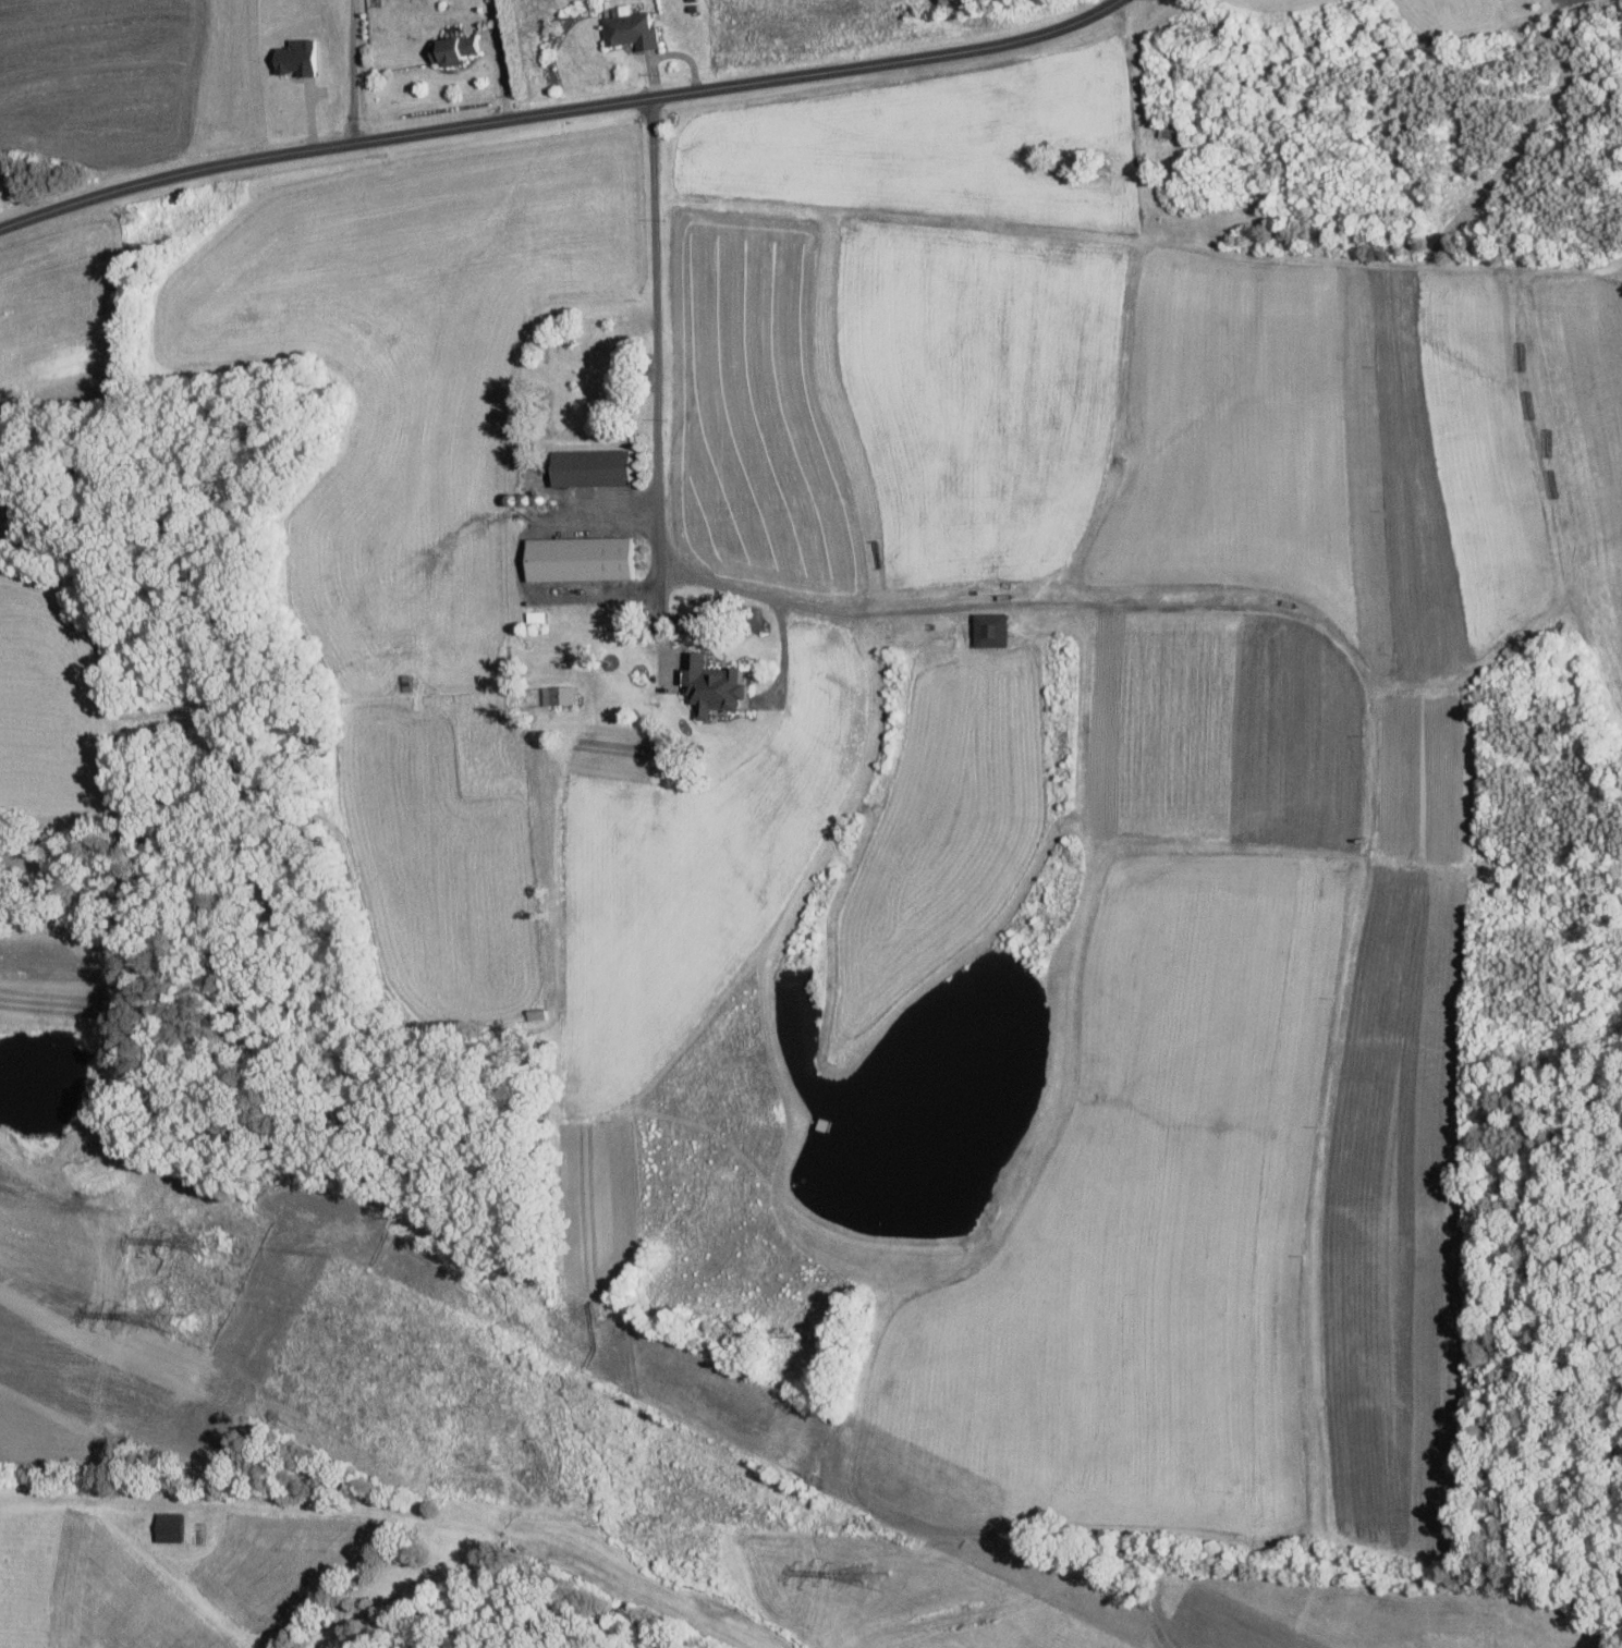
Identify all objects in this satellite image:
building: (634, 28)
building: (459, 50)
building: (303, 58)
road: (353, 71)
road: (558, 111)
building: (588, 466)
building: (576, 558)
road: (527, 581)
road: (793, 602)
building: (986, 628)
building: (556, 694)
power tower: (206, 1246)
power tower: (171, 1318)
building: (174, 1527)
power tower: (877, 1575)

